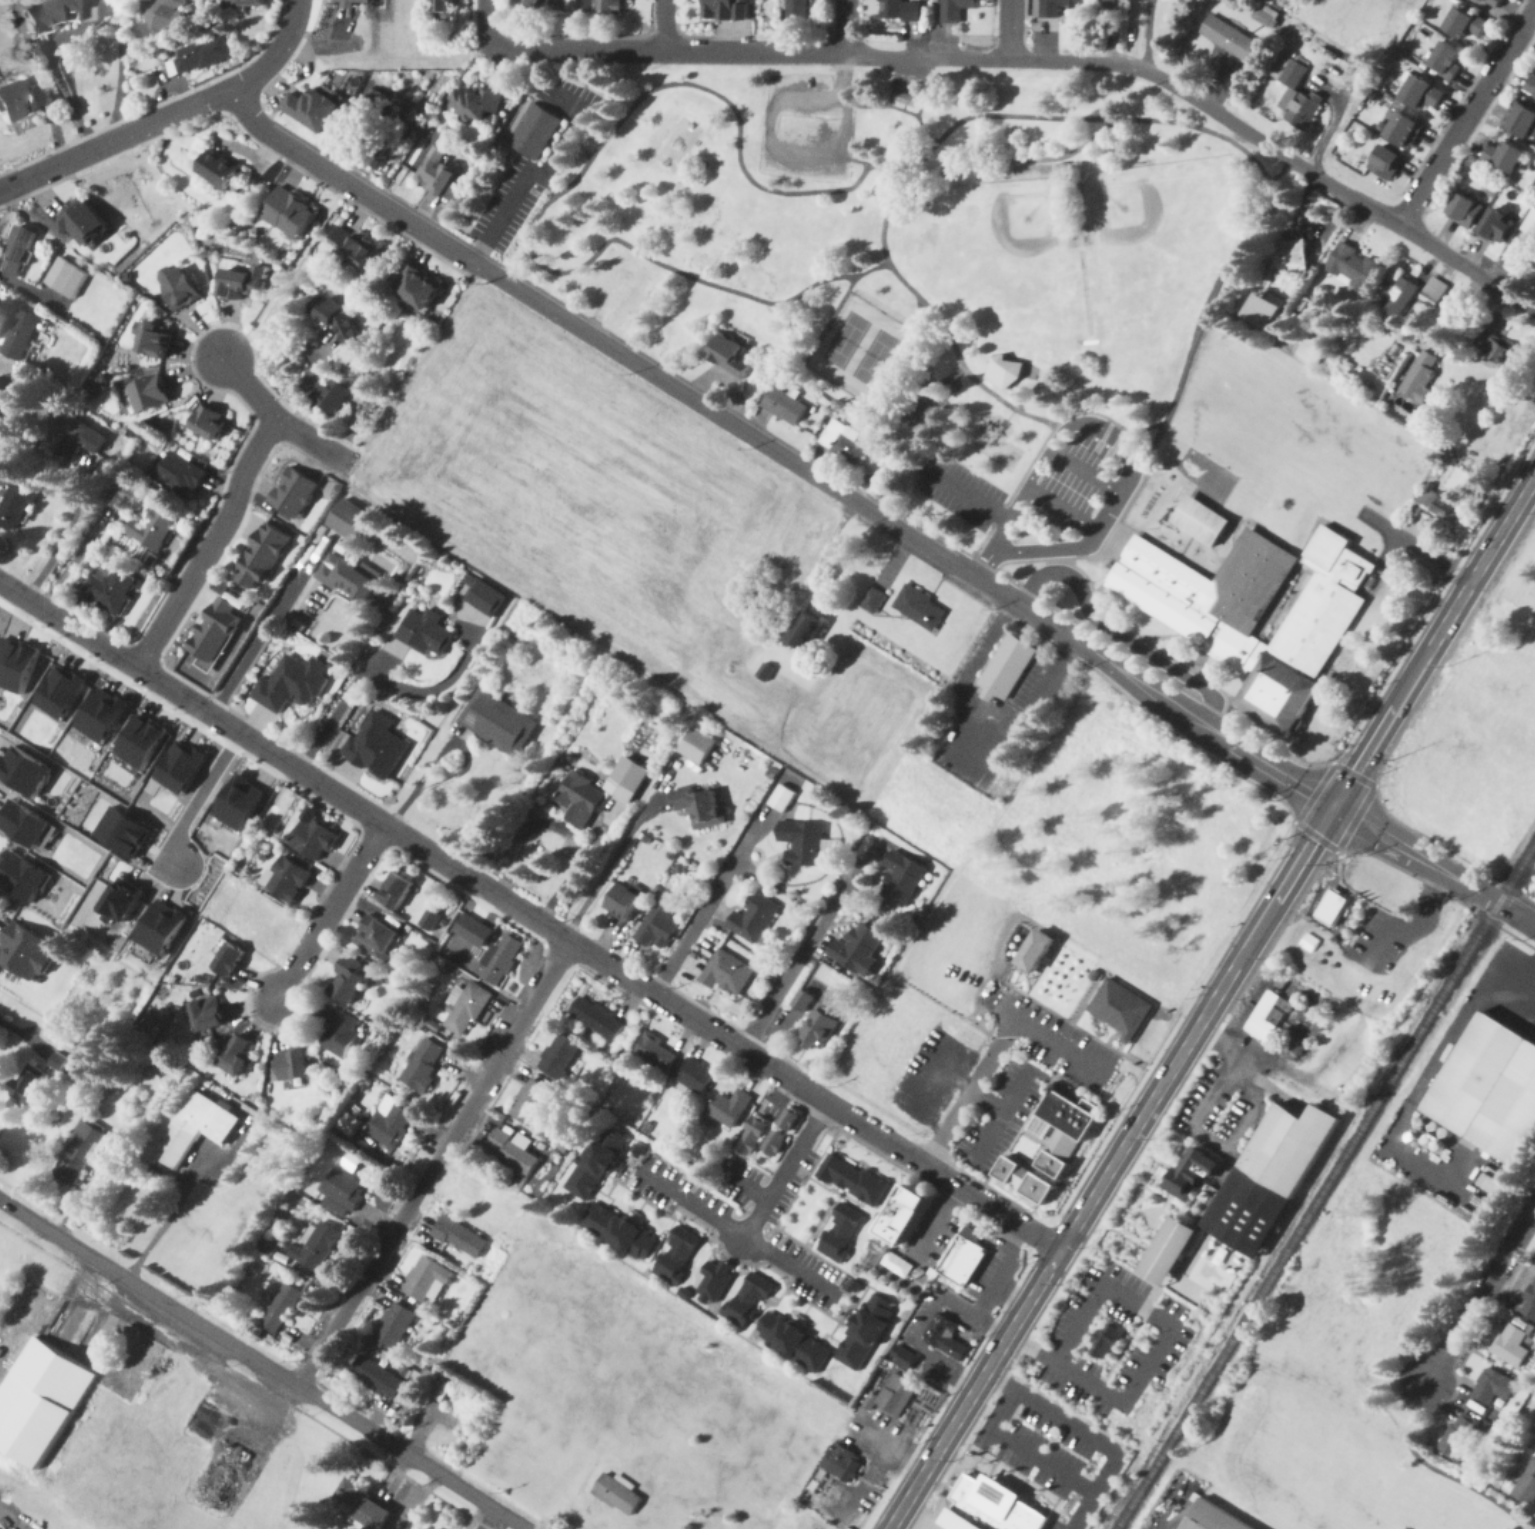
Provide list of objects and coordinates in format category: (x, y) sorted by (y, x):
building: (242, 3)
building: (1114, 3)
building: (1493, 3)
building: (350, 5)
building: (537, 6)
building: (601, 7)
building: (1059, 7)
building: (957, 8)
road: (1147, 8)
road: (1150, 8)
building: (442, 9)
building: (795, 9)
building: (889, 10)
building: (718, 11)
building: (1266, 14)
building: (49, 16)
building: (165, 16)
road: (92, 18)
road: (293, 20)
building: (1464, 23)
road: (484, 25)
road: (662, 26)
road: (846, 29)
road: (1009, 32)
building: (1229, 37)
road: (1147, 46)
road: (312, 49)
road: (412, 52)
road: (665, 53)
building: (198, 56)
building: (1446, 61)
road: (913, 76)
road: (847, 78)
building: (1530, 85)
parking lot: (909, 86)
road: (923, 90)
building: (1420, 95)
building: (1295, 96)
building: (903, 100)
building: (20, 101)
building: (472, 104)
building: (310, 109)
road: (898, 109)
road: (1213, 114)
road: (1467, 117)
road: (1070, 118)
building: (1523, 122)
road: (149, 124)
building: (1404, 131)
building: (532, 132)
road: (573, 135)
road: (1236, 137)
park: (679, 147)
road: (775, 154)
building: (1504, 157)
road: (853, 160)
building: (1385, 163)
building: (217, 170)
building: (435, 176)
road: (576, 177)
road: (344, 183)
road: (541, 183)
park: (722, 197)
building: (292, 210)
building: (1464, 211)
building: (85, 218)
road: (499, 219)
building: (1530, 224)
building: (1495, 226)
park: (1152, 241)
building: (354, 248)
building: (15, 251)
park: (1006, 252)
building: (1299, 254)
building: (1514, 254)
building: (1354, 265)
building: (64, 278)
building: (241, 283)
building: (183, 284)
building: (414, 288)
building: (1436, 290)
building: (1405, 295)
road: (838, 304)
building: (1267, 309)
building: (340, 318)
building: (17, 335)
building: (156, 336)
park: (844, 339)
building: (1499, 348)
park: (860, 349)
building: (734, 353)
park: (873, 359)
building: (1007, 368)
building: (1418, 377)
building: (152, 391)
building: (333, 397)
building: (783, 405)
road: (718, 418)
road: (279, 422)
building: (207, 423)
building: (14, 425)
building: (74, 440)
building: (840, 442)
road: (1149, 446)
road: (1130, 460)
road: (1083, 472)
building: (179, 476)
parking lot: (1072, 484)
parking lot: (957, 491)
building: (293, 494)
road: (962, 494)
building: (16, 501)
building: (1442, 501)
road: (1060, 511)
building: (1200, 522)
building: (351, 523)
road: (1502, 529)
building: (151, 530)
road: (62, 535)
road: (209, 546)
road: (1417, 549)
building: (259, 559)
road: (73, 561)
road: (1055, 562)
building: (347, 578)
building: (108, 590)
road: (11, 592)
building: (482, 597)
building: (871, 601)
building: (918, 608)
road: (1028, 613)
building: (1255, 614)
building: (425, 633)
road: (1116, 634)
building: (214, 635)
building: (806, 635)
road: (248, 645)
building: (19, 663)
building: (768, 669)
building: (1006, 672)
road: (360, 676)
road: (157, 684)
building: (290, 685)
building: (63, 690)
building: (105, 714)
building: (497, 723)
road: (1210, 736)
building: (144, 740)
building: (380, 744)
building: (696, 746)
road: (436, 754)
building: (183, 765)
road: (964, 765)
building: (29, 768)
building: (626, 778)
road: (194, 796)
building: (780, 797)
building: (577, 798)
building: (243, 801)
building: (701, 807)
traffic signals: (1332, 809)
road: (1356, 814)
building: (26, 821)
road: (385, 826)
road: (564, 828)
building: (126, 830)
building: (310, 838)
building: (802, 842)
road: (1440, 861)
road: (1409, 865)
road: (609, 866)
building: (26, 874)
building: (901, 878)
building: (284, 879)
building: (395, 891)
building: (125, 899)
building: (622, 901)
road: (710, 906)
building: (1331, 909)
road: (329, 912)
road: (523, 913)
road: (1516, 915)
building: (432, 917)
building: (752, 918)
building: (657, 922)
building: (166, 926)
building: (476, 929)
building: (374, 937)
building: (1043, 948)
building: (29, 949)
building: (857, 949)
building: (226, 958)
building: (500, 959)
road: (801, 960)
building: (726, 972)
building: (1094, 977)
building: (349, 979)
building: (801, 1000)
building: (466, 1009)
building: (1121, 1010)
building: (208, 1012)
road: (1009, 1016)
building: (596, 1018)
road: (688, 1018)
building: (1264, 1021)
building: (819, 1026)
building: (339, 1033)
road: (999, 1051)
building: (655, 1052)
building: (236, 1055)
building: (558, 1055)
road: (1178, 1055)
building: (59, 1059)
building: (292, 1064)
building: (421, 1065)
building: (694, 1076)
road: (928, 1079)
building: (27, 1083)
road: (950, 1086)
building: (1490, 1087)
road: (1018, 1097)
building: (530, 1101)
building: (729, 1107)
building: (791, 1117)
building: (388, 1120)
building: (348, 1122)
road: (1001, 1124)
building: (194, 1128)
road: (866, 1129)
road: (1197, 1129)
building: (1066, 1131)
building: (754, 1134)
building: (775, 1140)
building: (84, 1150)
building: (523, 1156)
building: (599, 1162)
road: (433, 1165)
road: (193, 1177)
building: (856, 1177)
building: (1497, 1181)
building: (1026, 1182)
railway: (1324, 1186)
road: (745, 1187)
building: (341, 1188)
road: (992, 1207)
building: (909, 1216)
building: (1234, 1217)
road: (753, 1228)
building: (622, 1229)
building: (844, 1231)
road: (936, 1232)
building: (460, 1237)
building: (314, 1247)
building: (680, 1253)
building: (901, 1260)
building: (964, 1263)
road: (790, 1271)
building: (717, 1279)
building: (425, 1280)
road: (1095, 1282)
road: (990, 1289)
road: (1479, 1293)
building: (750, 1297)
building: (1528, 1303)
building: (279, 1310)
building: (393, 1325)
building: (869, 1331)
building: (796, 1339)
road: (916, 1339)
building: (946, 1339)
building: (1511, 1344)
building: (1105, 1348)
building: (906, 1356)
road: (263, 1365)
building: (376, 1378)
building: (1490, 1386)
building: (39, 1398)
building: (896, 1398)
building: (871, 1402)
road: (1112, 1404)
road: (869, 1436)
building: (1458, 1436)
road: (877, 1460)
building: (842, 1465)
road: (1096, 1482)
building: (1526, 1485)
building: (616, 1494)
building: (362, 1505)
building: (986, 1505)
road: (1080, 1510)
building: (1213, 1518)
building: (809, 1523)
road: (7, 1524)
building: (432, 1528)
building: (437, 1528)

